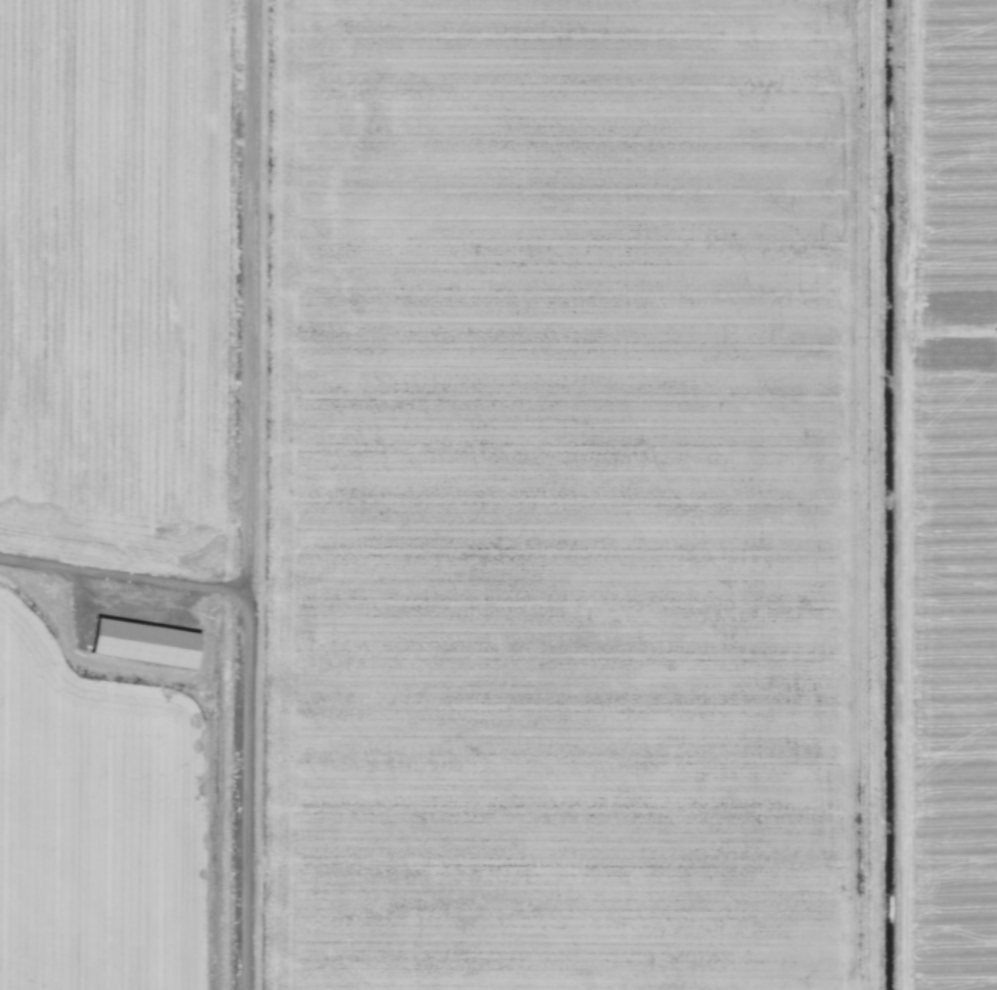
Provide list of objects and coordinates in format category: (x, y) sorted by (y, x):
road: (52, 566)
building: (142, 642)

